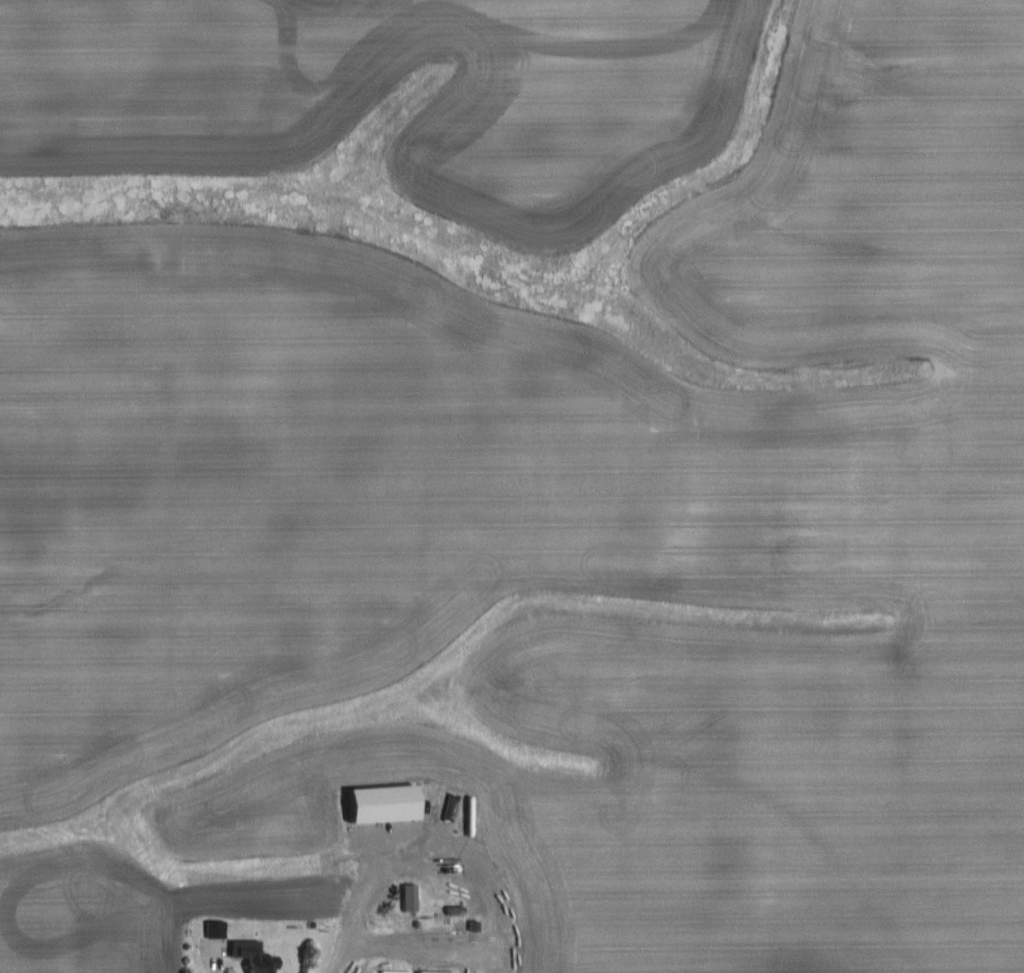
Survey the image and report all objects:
building: (384, 802)
road: (473, 890)
building: (410, 897)
building: (216, 928)
building: (254, 955)
road: (347, 956)
road: (213, 967)

